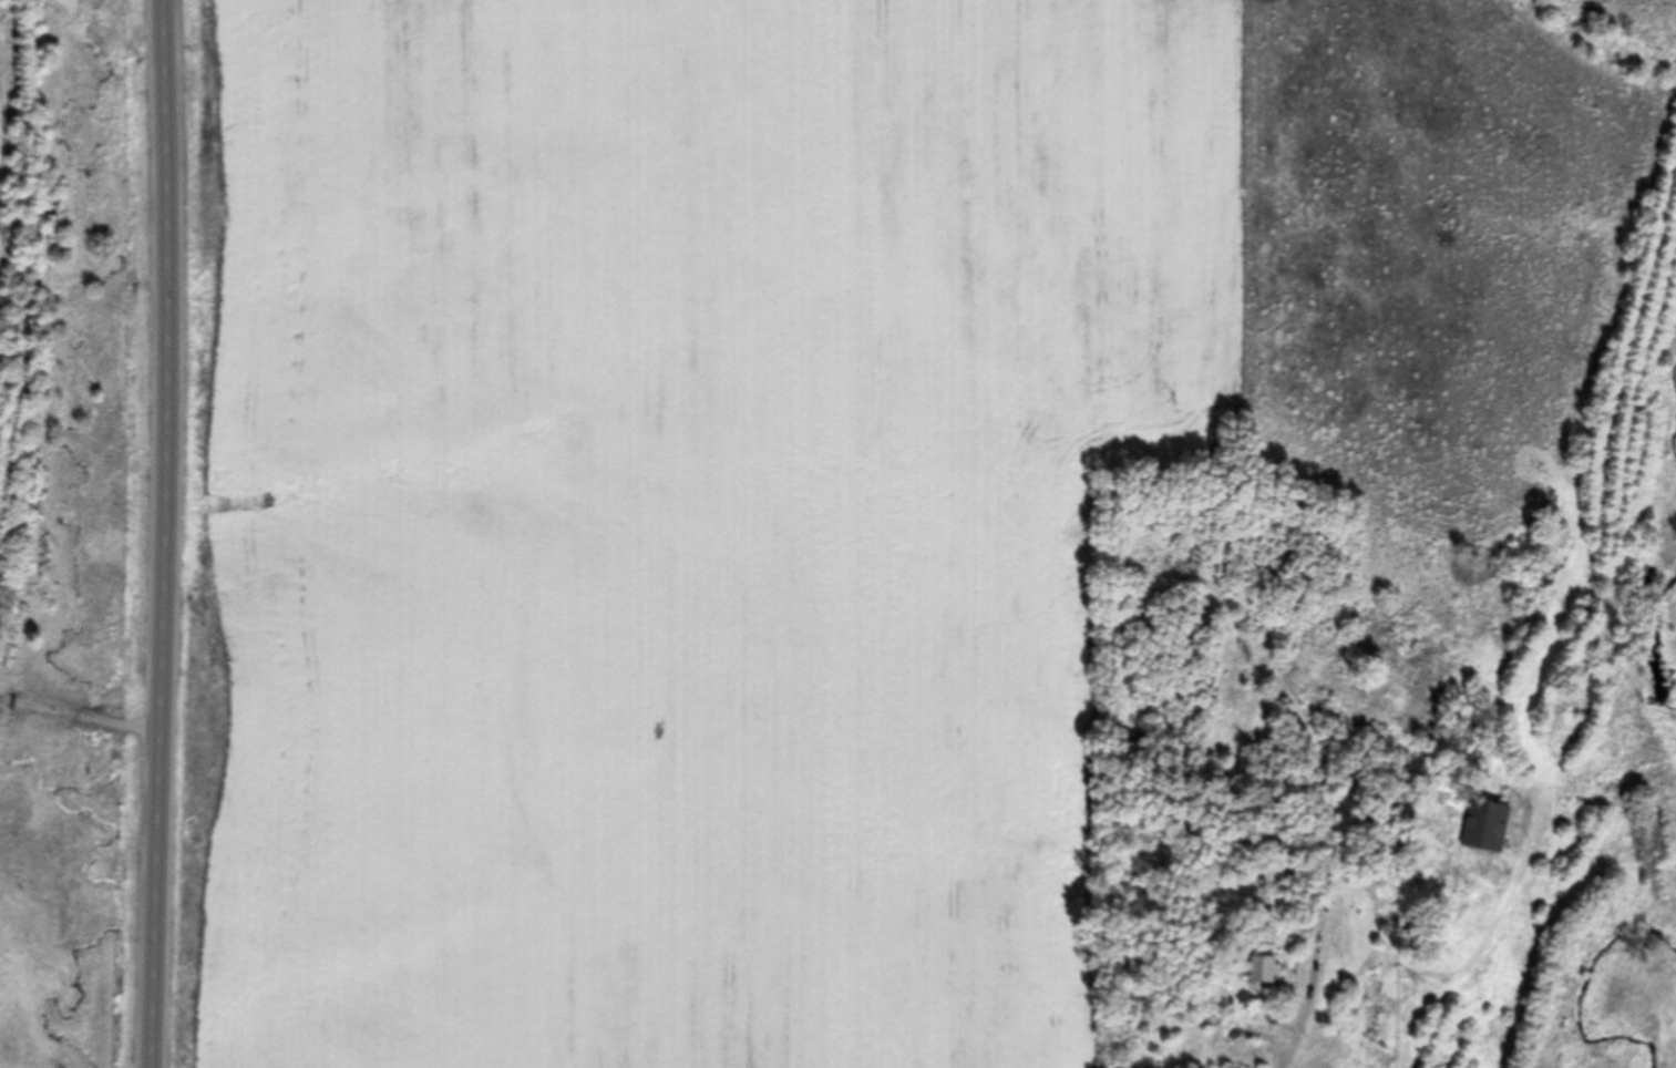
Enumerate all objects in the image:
road: (161, 534)
road: (79, 712)
building: (1484, 829)
road: (1296, 947)
building: (1264, 969)

